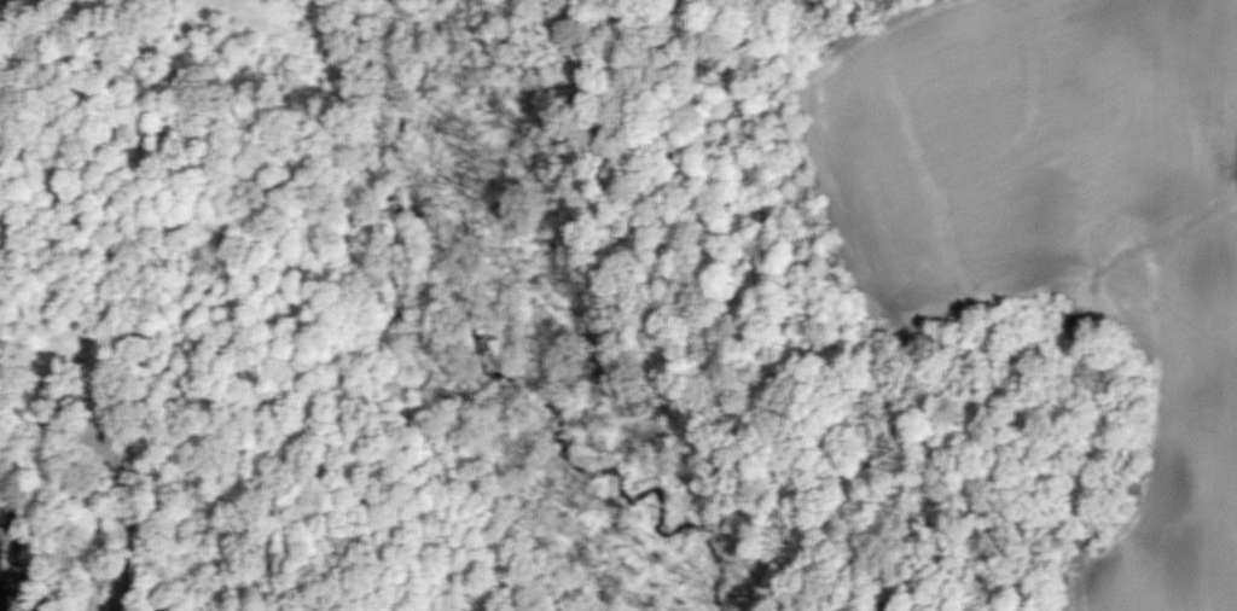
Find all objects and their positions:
road: (157, 489)

